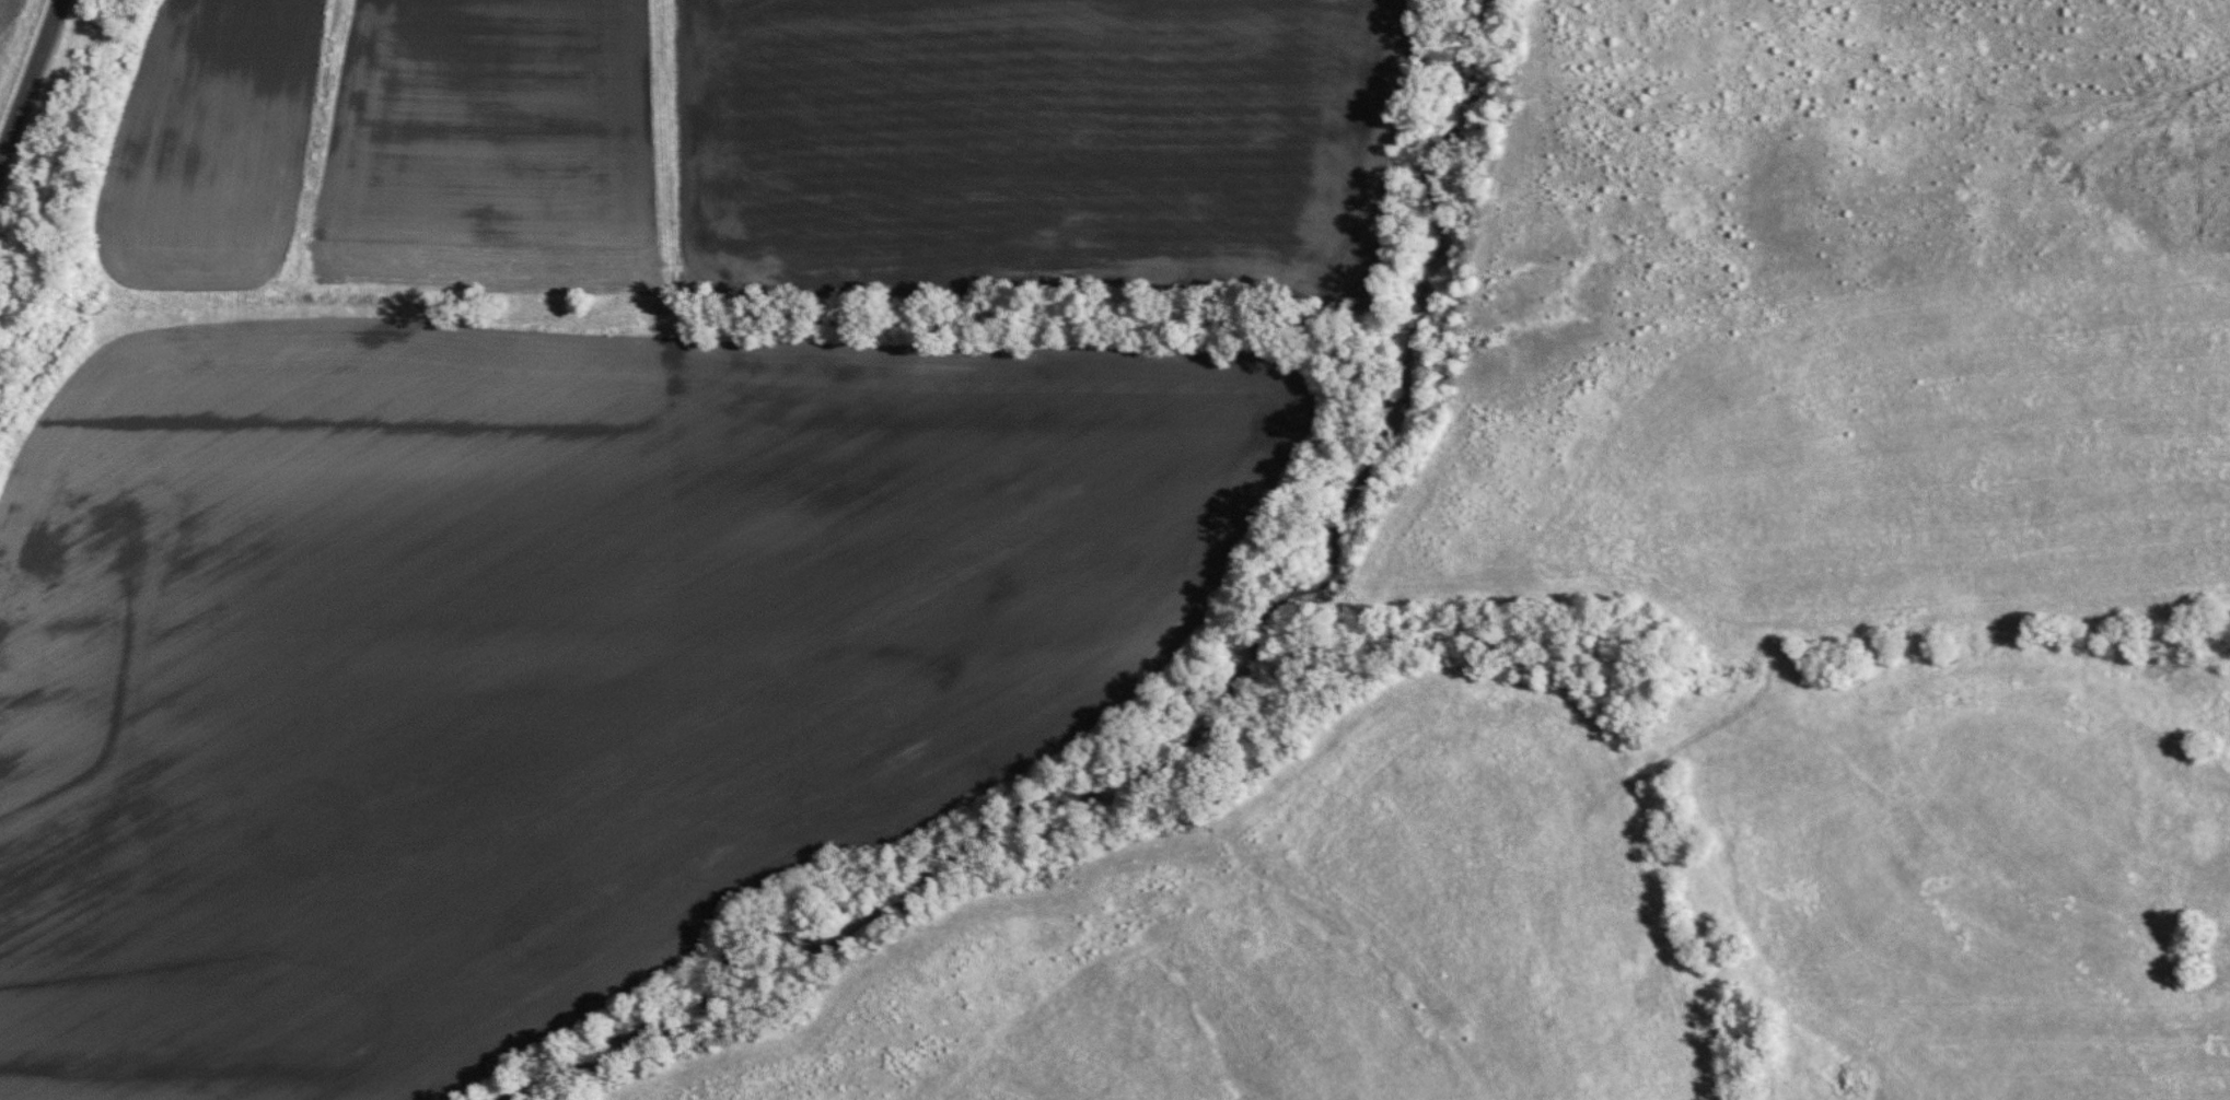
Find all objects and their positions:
crop: (4, 13)
road: (28, 75)
crop: (498, 148)
crop: (1035, 148)
crop: (541, 660)

